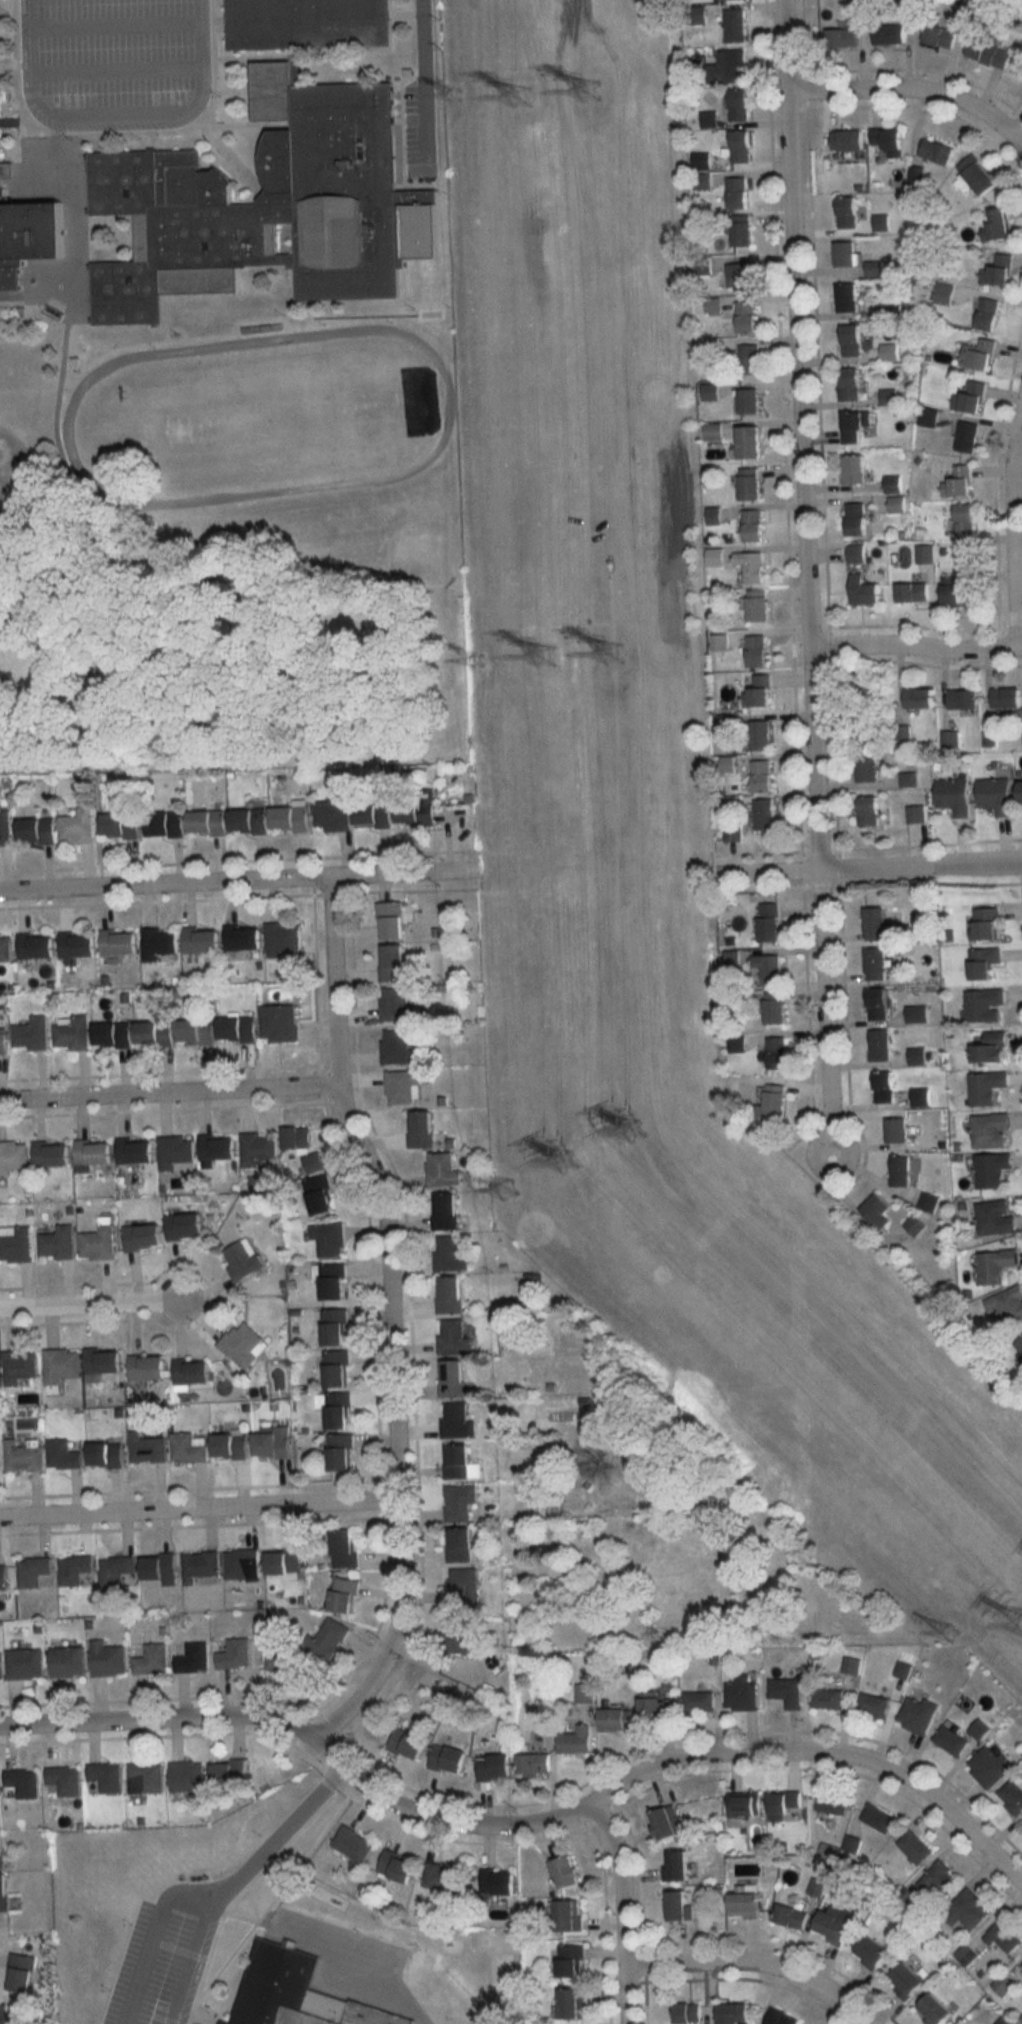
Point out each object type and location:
building: (964, 9)
building: (308, 23)
road: (112, 24)
building: (734, 25)
building: (888, 33)
building: (939, 35)
building: (842, 37)
building: (988, 53)
building: (726, 66)
road: (114, 71)
road: (423, 83)
road: (913, 92)
power tower: (594, 95)
power tower: (524, 99)
power tower: (460, 100)
building: (738, 104)
road: (113, 110)
road: (1018, 136)
building: (886, 138)
building: (847, 139)
building: (740, 146)
building: (936, 150)
building: (977, 174)
building: (737, 192)
building: (269, 205)
building: (847, 211)
building: (880, 221)
building: (997, 225)
building: (741, 229)
building: (28, 237)
building: (845, 253)
building: (874, 267)
building: (998, 270)
building: (742, 276)
building: (944, 293)
building: (847, 296)
building: (888, 311)
building: (987, 313)
building: (746, 316)
building: (851, 339)
building: (980, 353)
building: (749, 358)
building: (850, 383)
building: (970, 397)
building: (749, 400)
park: (270, 414)
building: (928, 416)
building: (855, 424)
building: (966, 436)
building: (751, 441)
building: (854, 468)
building: (958, 482)
building: (749, 484)
building: (893, 484)
road: (75, 496)
building: (896, 504)
building: (713, 516)
building: (856, 519)
building: (964, 519)
building: (753, 525)
road: (1010, 528)
building: (856, 553)
building: (924, 553)
building: (751, 566)
road: (803, 575)
building: (912, 591)
building: (957, 592)
building: (864, 593)
building: (758, 605)
building: (720, 642)
road: (914, 648)
building: (757, 650)
power tower: (618, 651)
power tower: (548, 657)
power tower: (483, 660)
building: (759, 691)
building: (869, 694)
building: (918, 697)
building: (1006, 697)
building: (962, 698)
building: (760, 735)
building: (865, 737)
building: (866, 766)
building: (762, 776)
building: (908, 778)
building: (1021, 791)
building: (954, 795)
building: (996, 795)
building: (868, 810)
building: (333, 812)
building: (415, 812)
building: (373, 814)
building: (765, 814)
building: (916, 814)
building: (290, 819)
building: (249, 821)
building: (207, 823)
building: (165, 824)
building: (120, 825)
building: (77, 826)
building: (4, 827)
building: (36, 830)
building: (733, 831)
road: (867, 870)
road: (236, 880)
building: (391, 921)
building: (769, 922)
building: (875, 923)
building: (986, 923)
building: (282, 937)
building: (243, 938)
building: (201, 940)
building: (119, 942)
building: (159, 943)
building: (76, 944)
building: (35, 946)
building: (5, 948)
building: (984, 962)
building: (392, 963)
building: (876, 963)
building: (768, 968)
building: (877, 1003)
building: (396, 1005)
building: (984, 1005)
building: (775, 1008)
building: (917, 1013)
building: (278, 1023)
building: (237, 1030)
building: (195, 1031)
building: (154, 1033)
building: (71, 1034)
building: (31, 1035)
building: (113, 1035)
building: (3, 1041)
building: (879, 1045)
building: (989, 1047)
building: (397, 1048)
building: (777, 1052)
building: (917, 1056)
building: (402, 1086)
building: (884, 1086)
building: (986, 1087)
road: (168, 1092)
building: (921, 1096)
building: (775, 1100)
building: (421, 1129)
building: (897, 1129)
building: (990, 1130)
power tower: (638, 1138)
building: (217, 1147)
building: (257, 1148)
building: (135, 1150)
building: (301, 1151)
building: (92, 1152)
building: (176, 1152)
building: (51, 1154)
building: (12, 1156)
power tower: (574, 1163)
building: (441, 1169)
building: (900, 1169)
building: (992, 1170)
power tower: (513, 1193)
building: (320, 1195)
building: (928, 1201)
building: (878, 1210)
building: (445, 1211)
building: (996, 1217)
building: (915, 1224)
building: (184, 1226)
building: (142, 1236)
building: (328, 1239)
building: (98, 1241)
building: (56, 1243)
building: (15, 1244)
building: (449, 1254)
building: (243, 1260)
building: (995, 1266)
building: (330, 1281)
building: (450, 1295)
building: (1006, 1304)
road: (88, 1307)
road: (389, 1318)
building: (333, 1328)
building: (452, 1337)
building: (243, 1345)
building: (1019, 1345)
building: (103, 1361)
building: (59, 1365)
building: (18, 1367)
building: (146, 1368)
building: (336, 1369)
building: (192, 1372)
building: (452, 1379)
building: (338, 1411)
building: (457, 1422)
building: (271, 1443)
building: (230, 1447)
building: (188, 1448)
building: (147, 1449)
building: (340, 1452)
building: (62, 1455)
building: (23, 1456)
building: (106, 1456)
building: (459, 1462)
building: (588, 1469)
building: (459, 1501)
road: (197, 1511)
building: (460, 1544)
building: (344, 1548)
building: (284, 1560)
building: (242, 1563)
building: (200, 1565)
building: (159, 1566)
building: (116, 1570)
building: (75, 1571)
building: (32, 1572)
building: (3, 1579)
building: (463, 1586)
building: (343, 1594)
power tower: (952, 1628)
building: (459, 1635)
building: (330, 1638)
building: (235, 1654)
building: (193, 1658)
building: (107, 1659)
building: (151, 1660)
building: (67, 1661)
building: (283, 1661)
building: (24, 1664)
building: (851, 1665)
building: (0, 1670)
building: (787, 1691)
building: (742, 1694)
building: (828, 1698)
building: (699, 1701)
building: (874, 1705)
building: (657, 1707)
building: (917, 1714)
building: (616, 1718)
building: (576, 1740)
building: (950, 1740)
building: (408, 1743)
building: (448, 1758)
building: (534, 1762)
building: (497, 1764)
building: (990, 1765)
building: (230, 1771)
building: (105, 1775)
building: (187, 1775)
building: (145, 1777)
building: (21, 1779)
building: (63, 1780)
building: (1012, 1796)
building: (832, 1802)
building: (744, 1803)
building: (783, 1803)
building: (878, 1818)
building: (668, 1821)
road: (526, 1822)
building: (354, 1845)
building: (915, 1847)
building: (1, 1850)
building: (676, 1865)
building: (398, 1866)
building: (565, 1872)
building: (444, 1876)
building: (939, 1879)
road: (233, 1881)
building: (498, 1881)
building: (3, 1892)
building: (746, 1902)
building: (679, 1906)
road: (622, 1910)
building: (966, 1910)
building: (569, 1915)
building: (791, 1916)
building: (836, 1923)
road: (149, 1935)
building: (1004, 1936)
building: (871, 1952)
building: (571, 1960)
road: (756, 1964)
building: (1021, 1964)
building: (20, 1972)
building: (906, 1980)
building: (294, 1992)
building: (573, 2003)
building: (934, 2010)
building: (687, 2012)
building: (731, 2013)
building: (5, 2014)
building: (781, 2017)

